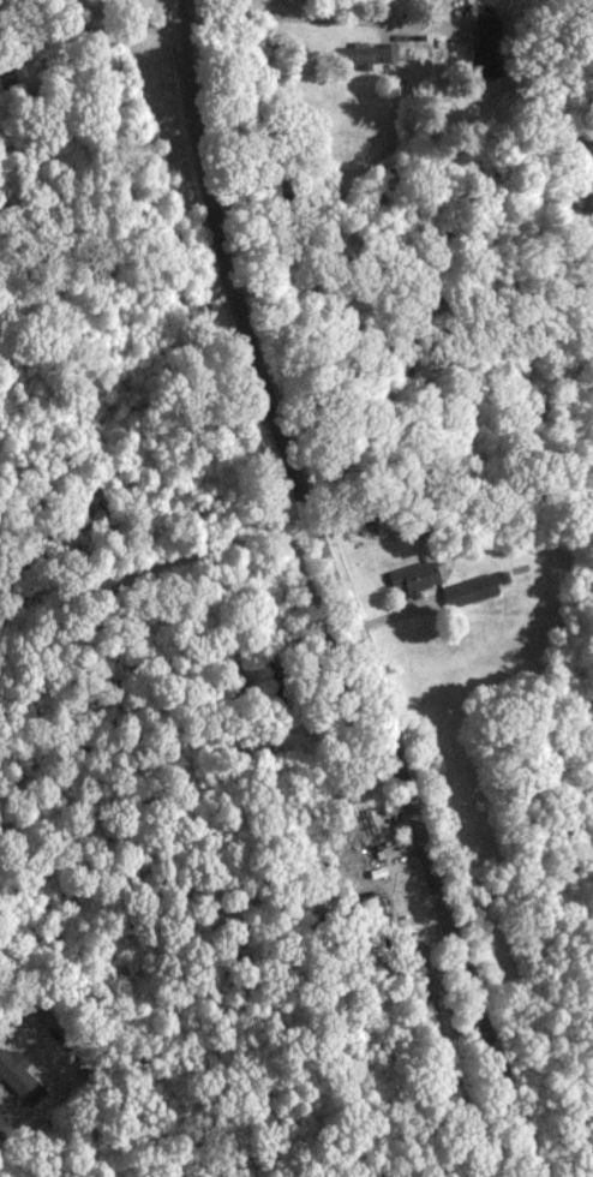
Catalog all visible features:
road: (296, 19)
road: (91, 37)
building: (387, 52)
building: (357, 55)
building: (412, 576)
building: (466, 588)
road: (331, 596)
building: (25, 1074)
road: (124, 1115)

